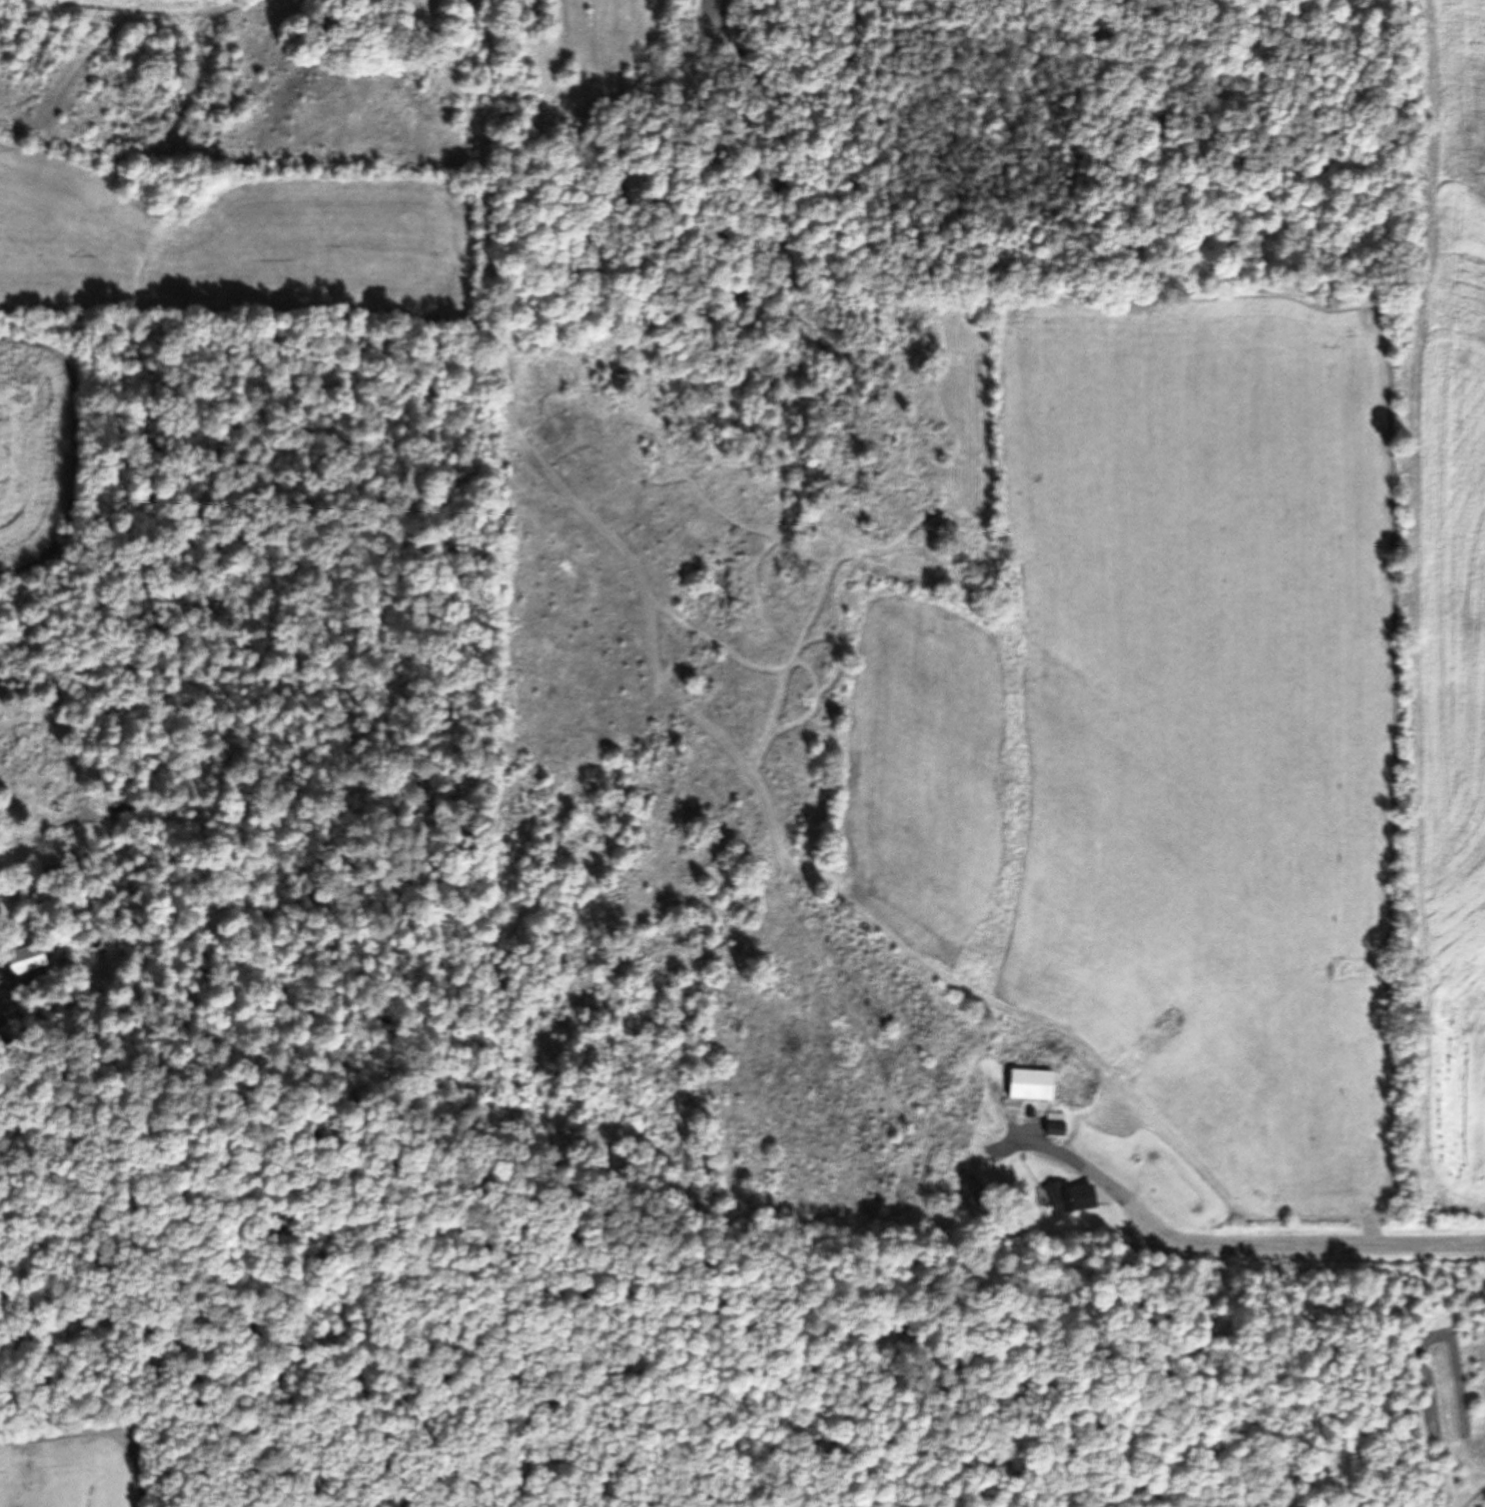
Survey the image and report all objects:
building: (1026, 1084)
building: (1051, 1123)
road: (1319, 1244)

